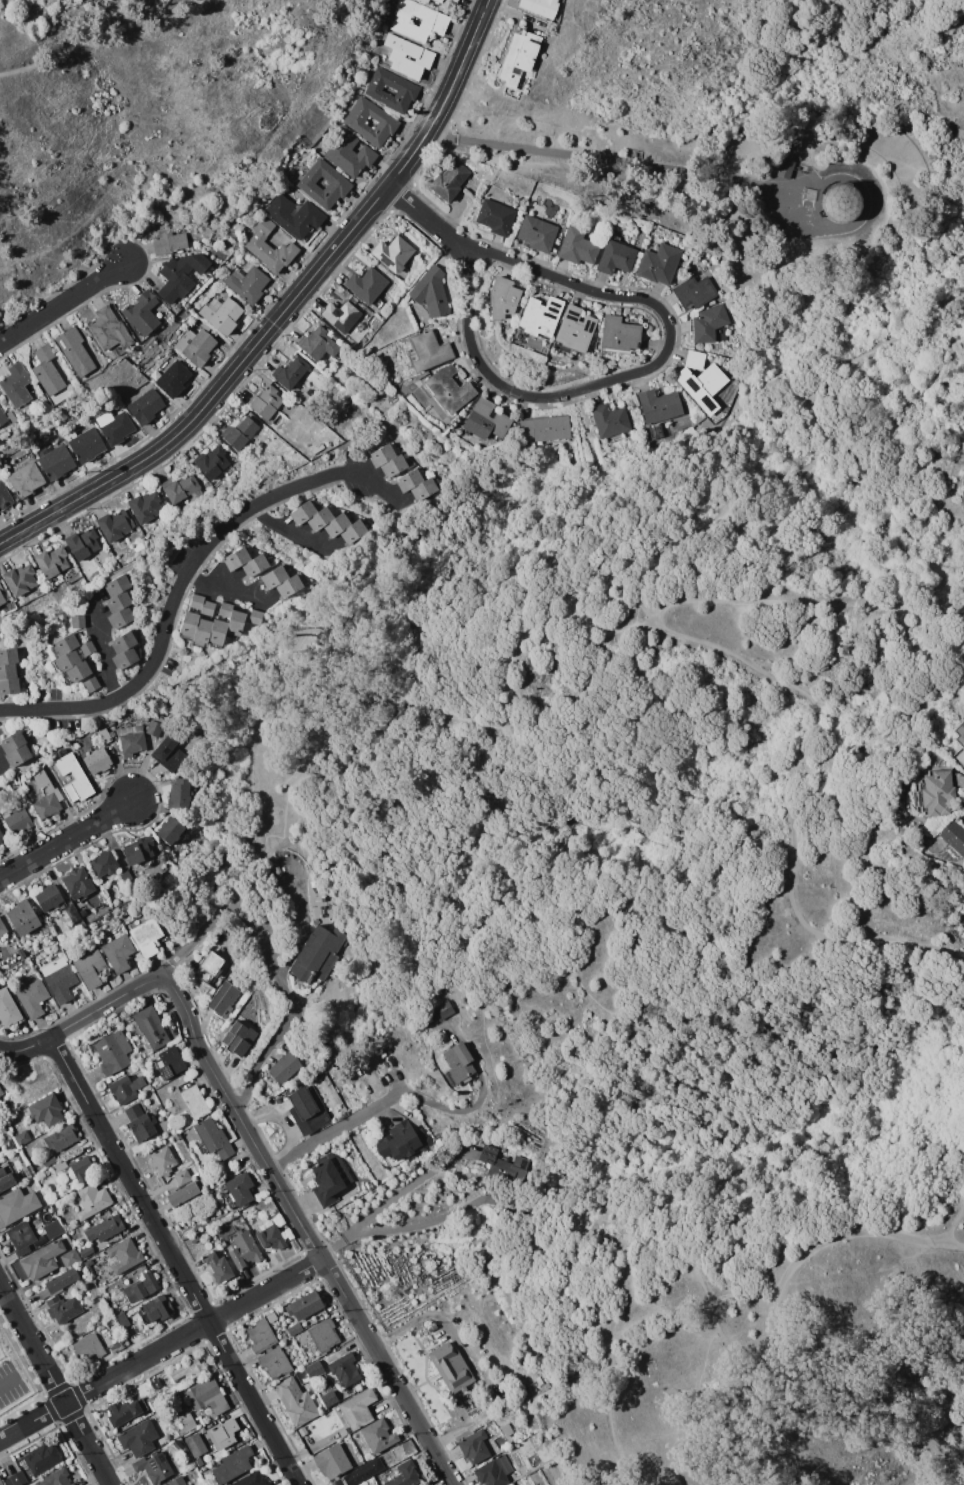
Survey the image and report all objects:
building: (455, 0)
building: (434, 2)
building: (540, 6)
road: (956, 12)
building: (432, 24)
road: (105, 41)
building: (421, 55)
building: (517, 63)
building: (406, 90)
park: (132, 105)
building: (353, 121)
building: (349, 153)
road: (598, 162)
building: (786, 168)
building: (449, 180)
building: (339, 183)
building: (841, 202)
building: (295, 215)
building: (495, 216)
road: (428, 218)
building: (204, 222)
building: (246, 230)
building: (537, 233)
building: (169, 242)
building: (268, 245)
building: (577, 246)
building: (392, 252)
building: (616, 256)
building: (659, 263)
building: (180, 275)
building: (247, 283)
building: (367, 286)
building: (430, 291)
building: (694, 291)
building: (503, 297)
road: (959, 299)
road: (63, 303)
building: (356, 303)
road: (284, 310)
building: (142, 311)
building: (221, 313)
building: (340, 315)
building: (540, 315)
building: (709, 322)
building: (204, 325)
building: (109, 329)
building: (573, 330)
building: (617, 334)
building: (363, 340)
building: (318, 344)
building: (195, 345)
building: (74, 350)
building: (427, 350)
building: (695, 359)
building: (47, 369)
building: (290, 371)
building: (172, 378)
building: (702, 385)
road: (506, 387)
building: (17, 388)
building: (32, 388)
building: (448, 388)
building: (393, 398)
building: (265, 401)
building: (145, 406)
building: (658, 409)
building: (2, 418)
building: (12, 418)
building: (486, 420)
building: (609, 421)
building: (114, 426)
building: (544, 429)
building: (239, 432)
building: (85, 443)
building: (381, 455)
building: (54, 460)
building: (212, 461)
building: (393, 465)
building: (409, 479)
building: (25, 480)
building: (179, 488)
building: (423, 488)
building: (4, 496)
building: (145, 506)
building: (303, 511)
building: (319, 518)
building: (115, 525)
building: (336, 525)
building: (352, 531)
road: (294, 533)
building: (82, 543)
road: (534, 550)
building: (236, 558)
building: (52, 562)
building: (254, 565)
road: (388, 565)
building: (87, 576)
building: (274, 576)
building: (19, 579)
road: (183, 581)
building: (117, 585)
building: (288, 585)
road: (228, 589)
building: (2, 596)
road: (804, 600)
building: (34, 601)
building: (196, 601)
building: (118, 602)
building: (207, 607)
building: (224, 609)
building: (255, 616)
building: (120, 618)
building: (78, 622)
building: (235, 623)
building: (188, 624)
building: (201, 632)
building: (217, 632)
road: (691, 638)
building: (124, 642)
building: (64, 645)
building: (87, 649)
road: (105, 650)
building: (8, 656)
building: (125, 658)
building: (66, 661)
road: (384, 662)
building: (8, 671)
building: (77, 672)
building: (91, 684)
building: (9, 686)
building: (159, 717)
building: (154, 728)
building: (104, 735)
building: (131, 740)
building: (12, 741)
building: (960, 741)
building: (62, 751)
building: (168, 753)
building: (17, 755)
building: (97, 761)
road: (2, 765)
road: (366, 779)
building: (75, 780)
building: (934, 792)
building: (179, 793)
building: (45, 797)
building: (18, 821)
building: (0, 823)
building: (169, 830)
building: (1, 837)
road: (67, 838)
building: (953, 838)
building: (137, 850)
building: (292, 856)
building: (104, 863)
building: (274, 870)
building: (127, 878)
building: (77, 883)
park: (666, 894)
building: (48, 897)
building: (72, 912)
building: (83, 912)
building: (23, 917)
building: (2, 932)
building: (147, 937)
road: (199, 937)
building: (21, 953)
building: (118, 953)
building: (318, 954)
building: (209, 968)
building: (91, 969)
building: (60, 979)
building: (33, 998)
building: (223, 1000)
road: (290, 1006)
building: (8, 1008)
building: (443, 1010)
road: (83, 1017)
building: (152, 1028)
building: (440, 1036)
building: (238, 1038)
road: (664, 1046)
building: (112, 1052)
building: (381, 1053)
building: (169, 1063)
building: (459, 1063)
building: (285, 1067)
building: (125, 1088)
building: (1, 1093)
building: (195, 1102)
building: (160, 1107)
building: (46, 1110)
building: (308, 1110)
building: (2, 1126)
building: (142, 1127)
road: (332, 1128)
building: (177, 1136)
building: (23, 1137)
building: (61, 1138)
building: (212, 1138)
building: (426, 1140)
building: (400, 1142)
building: (10, 1143)
building: (22, 1159)
building: (49, 1160)
building: (163, 1161)
building: (60, 1166)
building: (499, 1166)
building: (81, 1168)
building: (28, 1172)
building: (183, 1177)
building: (330, 1178)
building: (6, 1180)
building: (239, 1189)
building: (182, 1194)
road: (392, 1199)
building: (91, 1201)
building: (17, 1206)
road: (422, 1224)
building: (54, 1229)
building: (104, 1229)
road: (307, 1234)
road: (947, 1235)
building: (20, 1237)
building: (271, 1237)
building: (223, 1243)
building: (243, 1248)
building: (86, 1251)
building: (123, 1256)
building: (70, 1258)
building: (42, 1260)
road: (174, 1260)
building: (218, 1267)
building: (58, 1283)
building: (140, 1288)
building: (304, 1305)
building: (161, 1307)
building: (62, 1309)
building: (143, 1312)
building: (101, 1327)
building: (295, 1328)
building: (324, 1335)
road: (766, 1347)
building: (88, 1348)
road: (161, 1349)
building: (268, 1349)
road: (611, 1358)
building: (451, 1368)
building: (344, 1369)
building: (186, 1370)
building: (314, 1370)
road: (7, 1381)
parking lot: (10, 1383)
road: (55, 1385)
building: (327, 1397)
building: (207, 1398)
building: (296, 1401)
road: (689, 1406)
building: (358, 1409)
building: (130, 1410)
building: (186, 1422)
building: (506, 1430)
building: (223, 1433)
building: (377, 1435)
building: (138, 1438)
building: (195, 1445)
building: (474, 1447)
building: (41, 1459)
building: (198, 1461)
building: (331, 1462)
building: (233, 1465)
building: (154, 1467)
building: (494, 1471)
building: (360, 1472)
building: (404, 1475)
building: (56, 1478)
building: (16, 1479)
building: (251, 1480)
building: (177, 1481)
building: (1, 1483)
building: (364, 1484)
building: (365, 1484)

